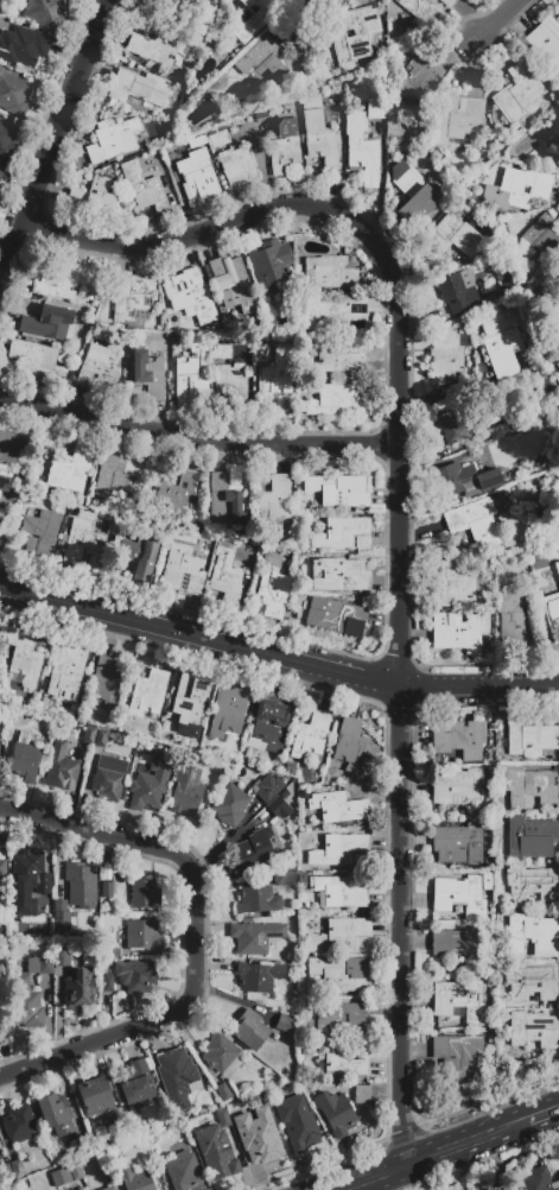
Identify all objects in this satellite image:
building: (360, 1)
building: (447, 2)
building: (176, 7)
building: (558, 10)
building: (423, 11)
building: (45, 12)
building: (246, 19)
road: (496, 19)
building: (355, 36)
building: (546, 40)
building: (26, 45)
building: (157, 49)
building: (267, 57)
building: (417, 78)
building: (140, 88)
building: (516, 91)
building: (13, 94)
building: (311, 101)
building: (375, 108)
building: (462, 120)
building: (287, 127)
building: (558, 133)
building: (218, 139)
building: (319, 139)
building: (6, 140)
building: (113, 140)
road: (57, 144)
building: (196, 147)
building: (360, 148)
building: (553, 151)
building: (284, 156)
building: (147, 164)
building: (236, 167)
building: (1, 171)
building: (198, 179)
building: (142, 185)
building: (520, 188)
building: (413, 194)
building: (94, 197)
building: (453, 236)
building: (541, 239)
building: (269, 267)
building: (330, 273)
building: (62, 281)
building: (231, 281)
building: (457, 292)
building: (189, 296)
building: (133, 298)
building: (335, 314)
building: (46, 322)
building: (501, 343)
building: (222, 353)
building: (446, 354)
building: (39, 359)
building: (336, 360)
building: (101, 365)
building: (558, 367)
building: (148, 375)
building: (191, 375)
building: (278, 376)
building: (558, 380)
building: (230, 384)
building: (336, 399)
building: (455, 429)
building: (501, 431)
road: (196, 439)
building: (11, 447)
building: (71, 470)
building: (112, 477)
building: (6, 481)
building: (462, 481)
building: (558, 483)
building: (183, 492)
building: (339, 492)
building: (223, 501)
building: (275, 501)
road: (398, 518)
building: (476, 523)
building: (110, 528)
building: (43, 532)
building: (343, 534)
building: (83, 546)
building: (140, 556)
building: (557, 569)
building: (183, 570)
building: (224, 575)
building: (339, 575)
building: (272, 578)
building: (456, 582)
building: (552, 615)
building: (336, 618)
building: (513, 619)
building: (457, 633)
road: (277, 656)
building: (24, 658)
building: (66, 671)
building: (104, 686)
building: (147, 694)
building: (188, 705)
building: (228, 710)
building: (269, 724)
building: (89, 735)
building: (310, 735)
building: (101, 739)
building: (459, 739)
building: (529, 739)
building: (350, 746)
building: (25, 759)
building: (61, 770)
building: (108, 778)
building: (529, 786)
building: (267, 787)
building: (456, 787)
building: (150, 790)
building: (185, 792)
building: (230, 806)
building: (279, 808)
building: (339, 809)
building: (531, 838)
building: (458, 843)
building: (337, 850)
building: (252, 855)
building: (2, 869)
building: (284, 875)
building: (487, 882)
building: (531, 885)
building: (81, 886)
building: (28, 887)
building: (107, 890)
building: (342, 893)
building: (144, 894)
building: (459, 897)
building: (258, 899)
building: (63, 920)
building: (343, 933)
building: (142, 935)
road: (195, 936)
building: (533, 936)
building: (256, 938)
building: (458, 944)
building: (62, 958)
building: (40, 964)
building: (342, 974)
building: (136, 976)
building: (258, 976)
building: (529, 982)
building: (107, 983)
building: (81, 990)
building: (459, 1001)
building: (25, 1002)
building: (341, 1018)
building: (285, 1025)
building: (250, 1030)
building: (533, 1031)
building: (221, 1052)
building: (458, 1053)
building: (345, 1059)
building: (176, 1076)
building: (136, 1084)
building: (223, 1091)
building: (361, 1094)
building: (95, 1095)
building: (335, 1113)
building: (56, 1114)
building: (235, 1114)
road: (541, 1114)
building: (223, 1120)
building: (20, 1125)
building: (300, 1132)
building: (262, 1141)
road: (462, 1142)
building: (80, 1146)
building: (218, 1163)
building: (21, 1167)
building: (183, 1171)
building: (6, 1173)
building: (59, 1177)
road: (370, 1178)
road: (393, 1178)
building: (135, 1179)
building: (538, 1179)
building: (110, 1188)
building: (509, 1189)

